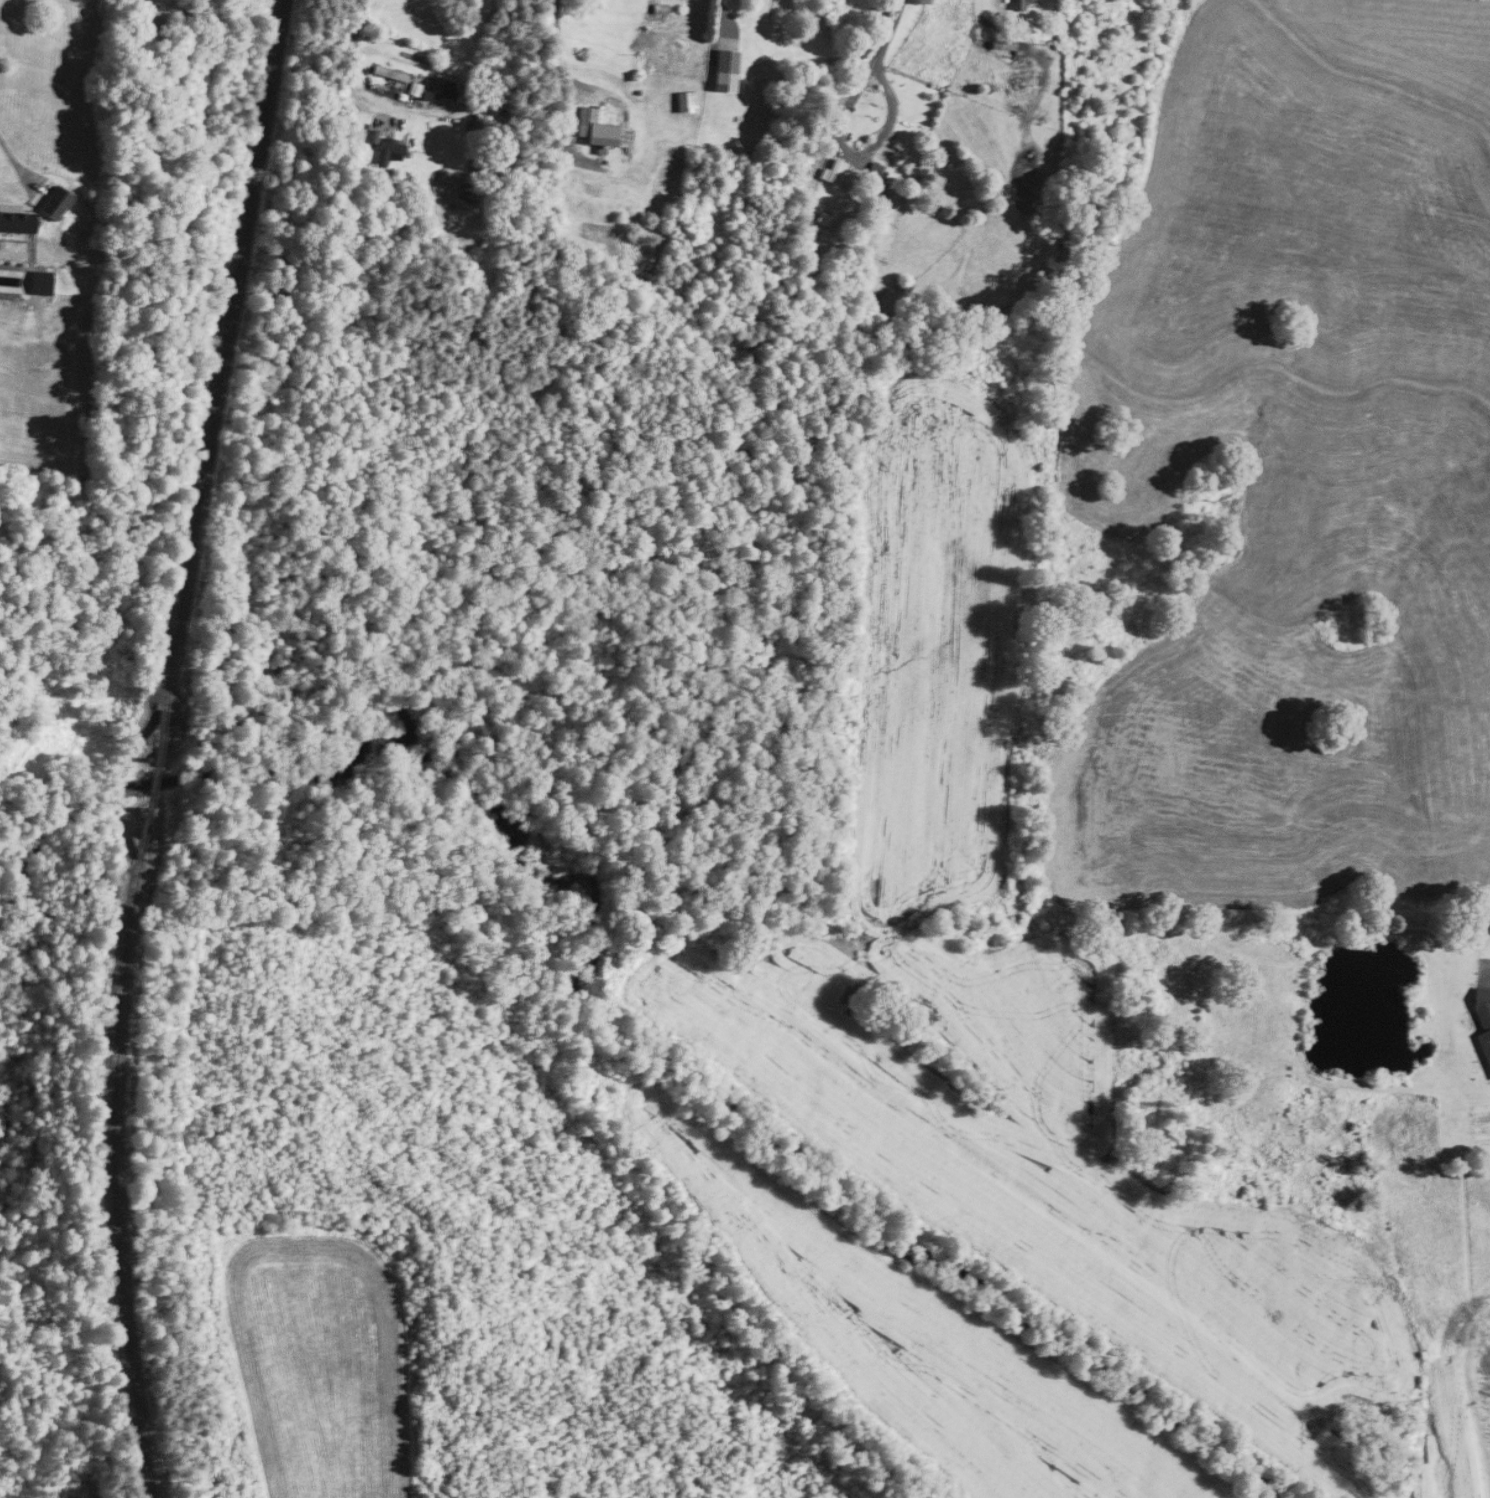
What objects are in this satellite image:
building: (1020, 4)
road: (721, 18)
road: (887, 31)
building: (1, 42)
building: (727, 70)
building: (391, 74)
road: (352, 79)
building: (450, 88)
building: (686, 99)
building: (485, 121)
building: (602, 127)
building: (389, 152)
road: (858, 154)
building: (831, 171)
building: (822, 219)
railway: (152, 747)
building: (1483, 1011)

